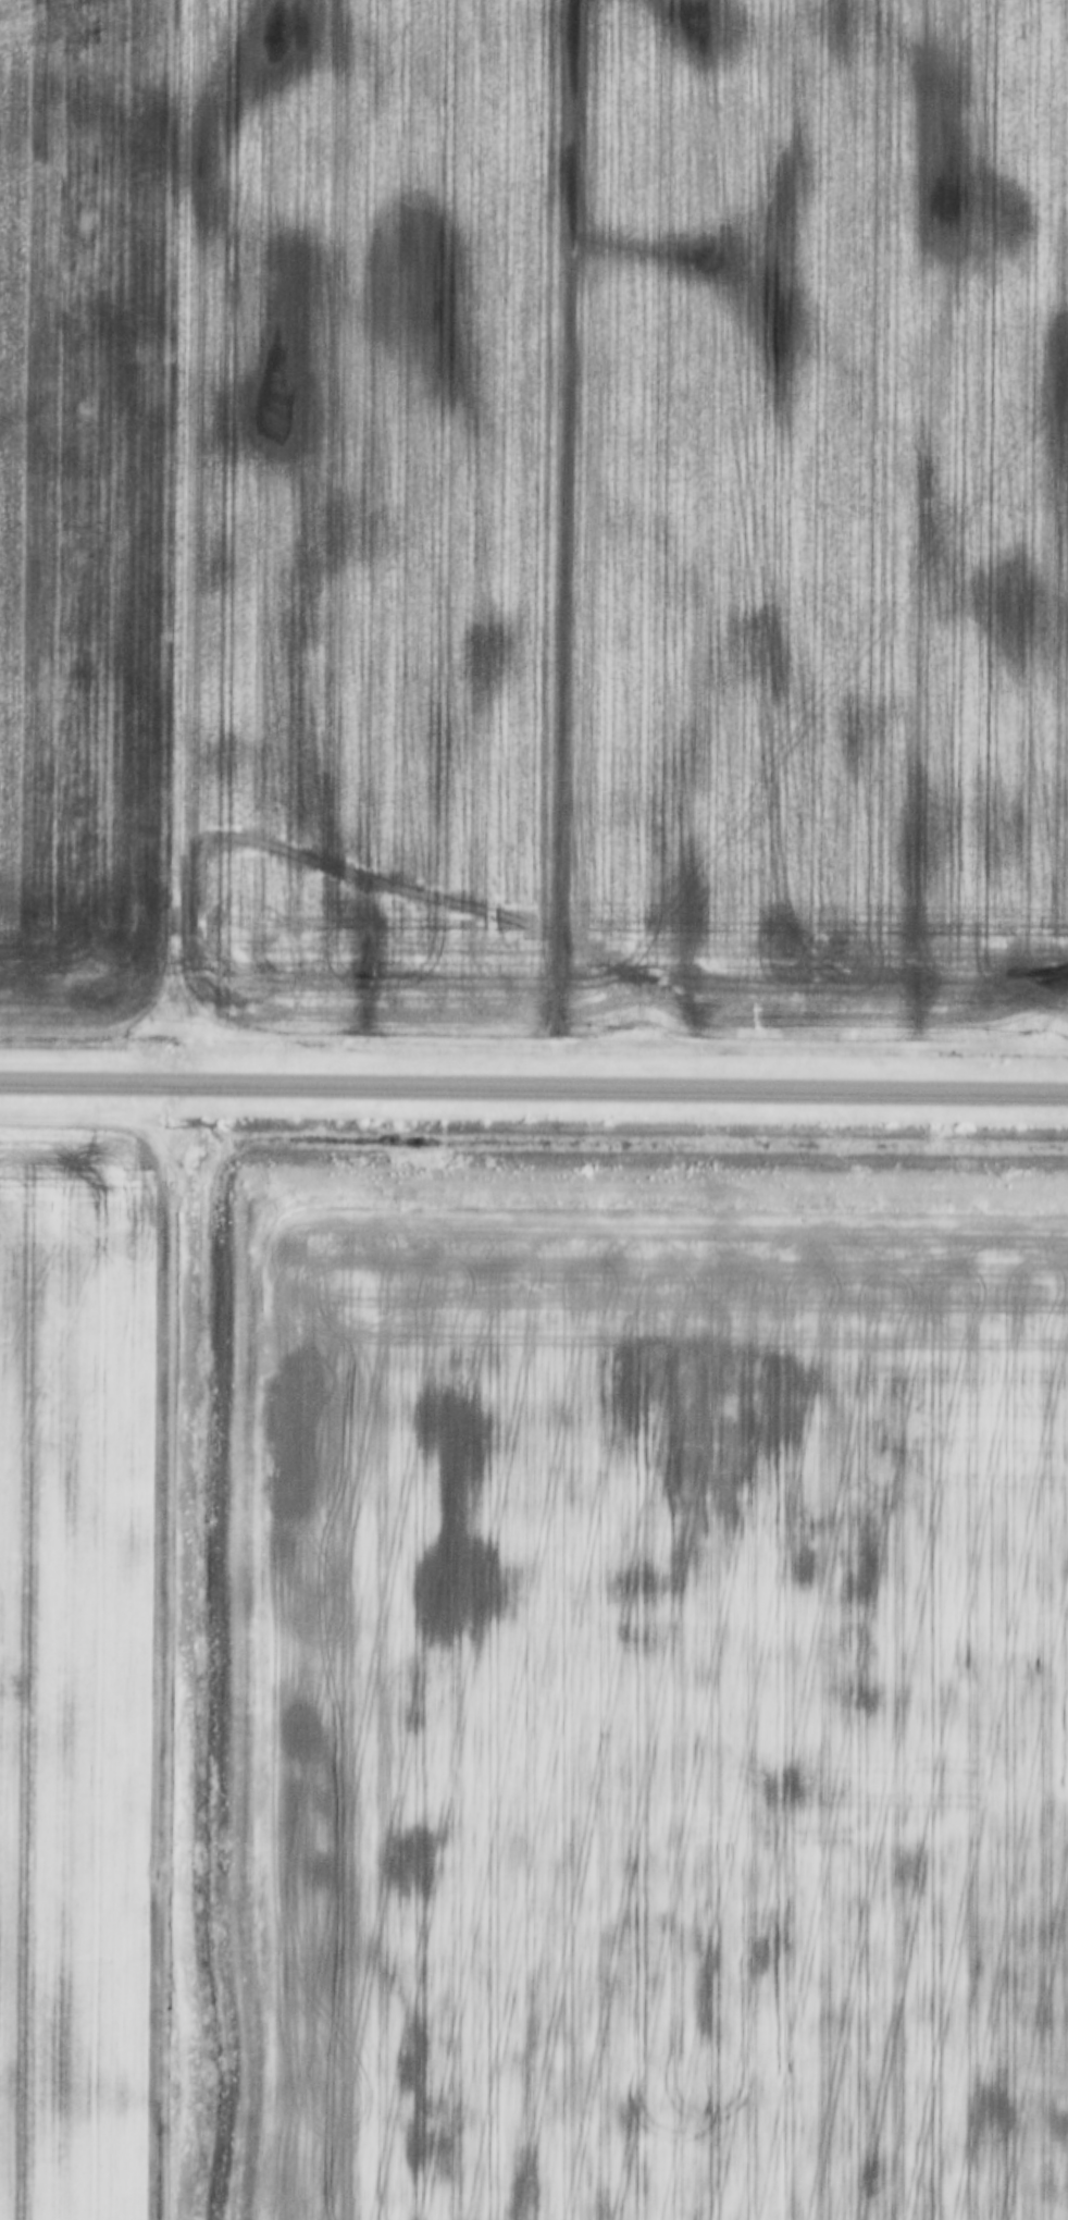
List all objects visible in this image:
road: (534, 1089)

